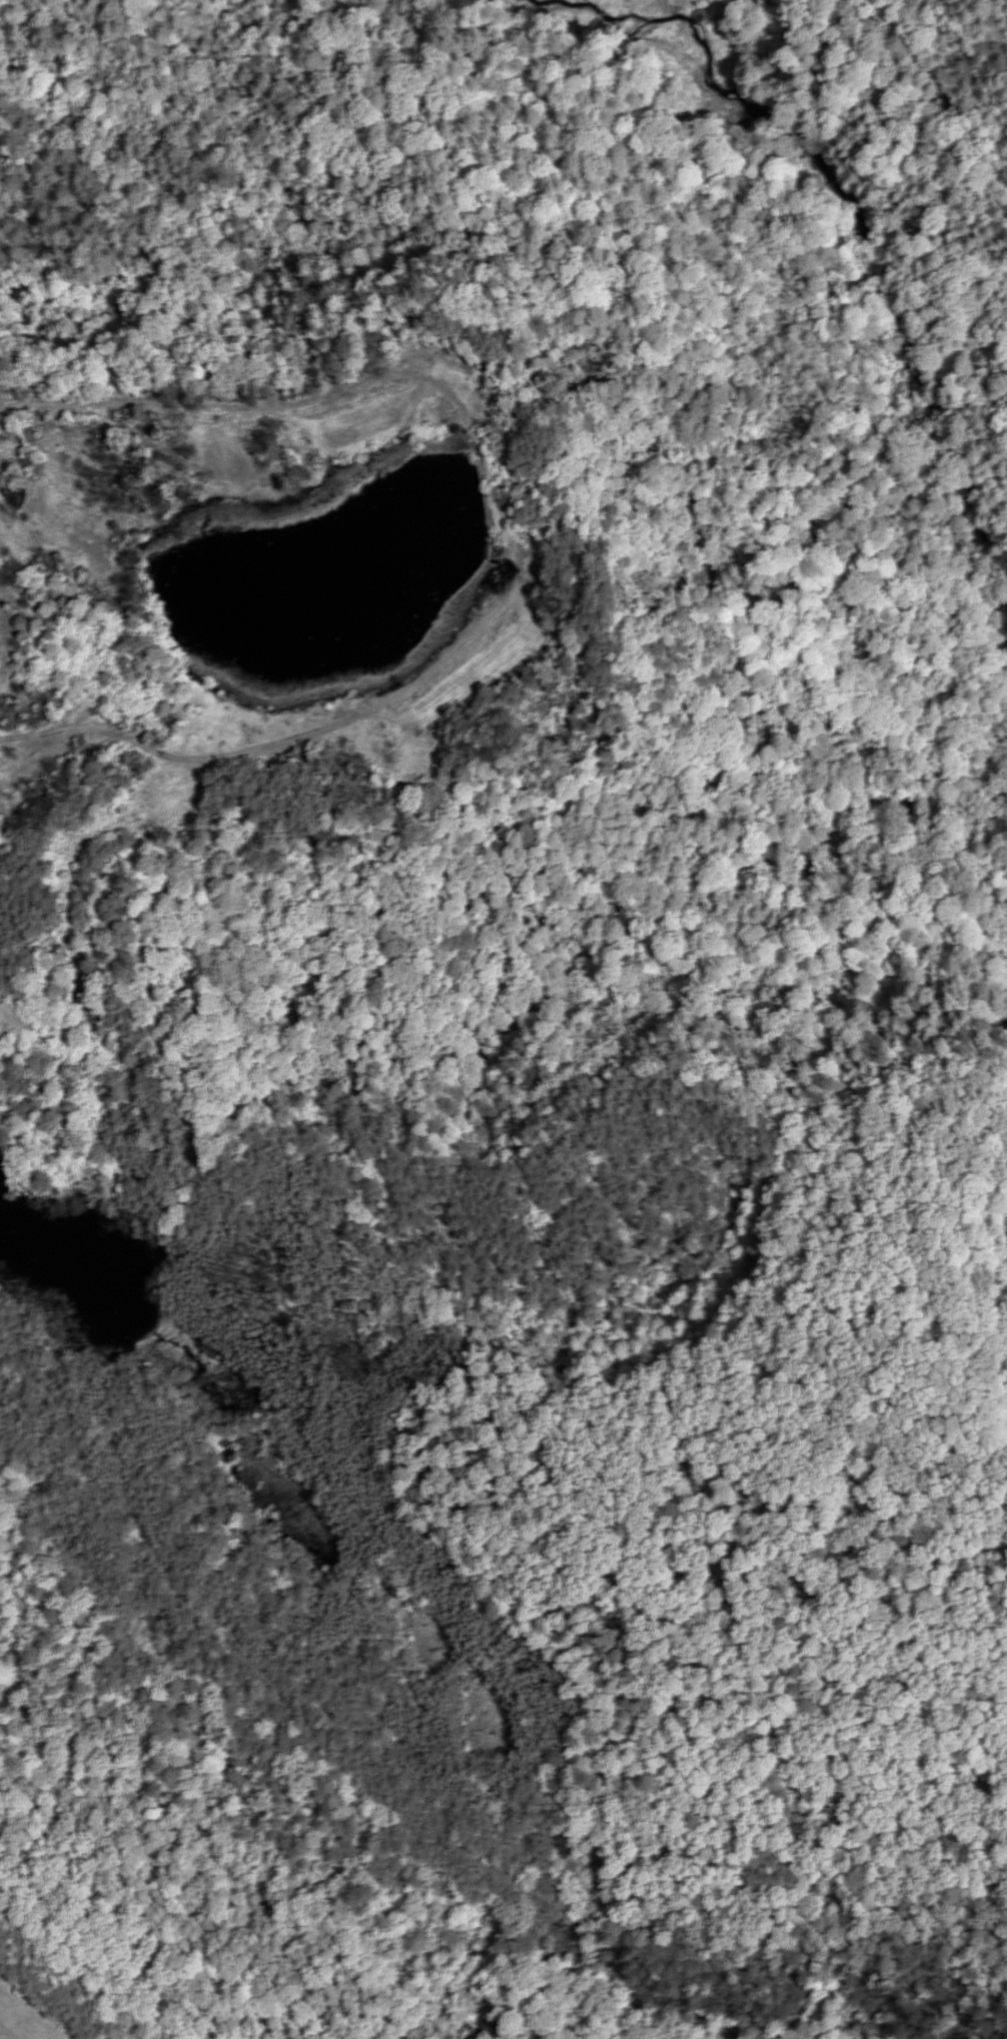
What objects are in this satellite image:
road: (486, 541)
road: (10, 639)

